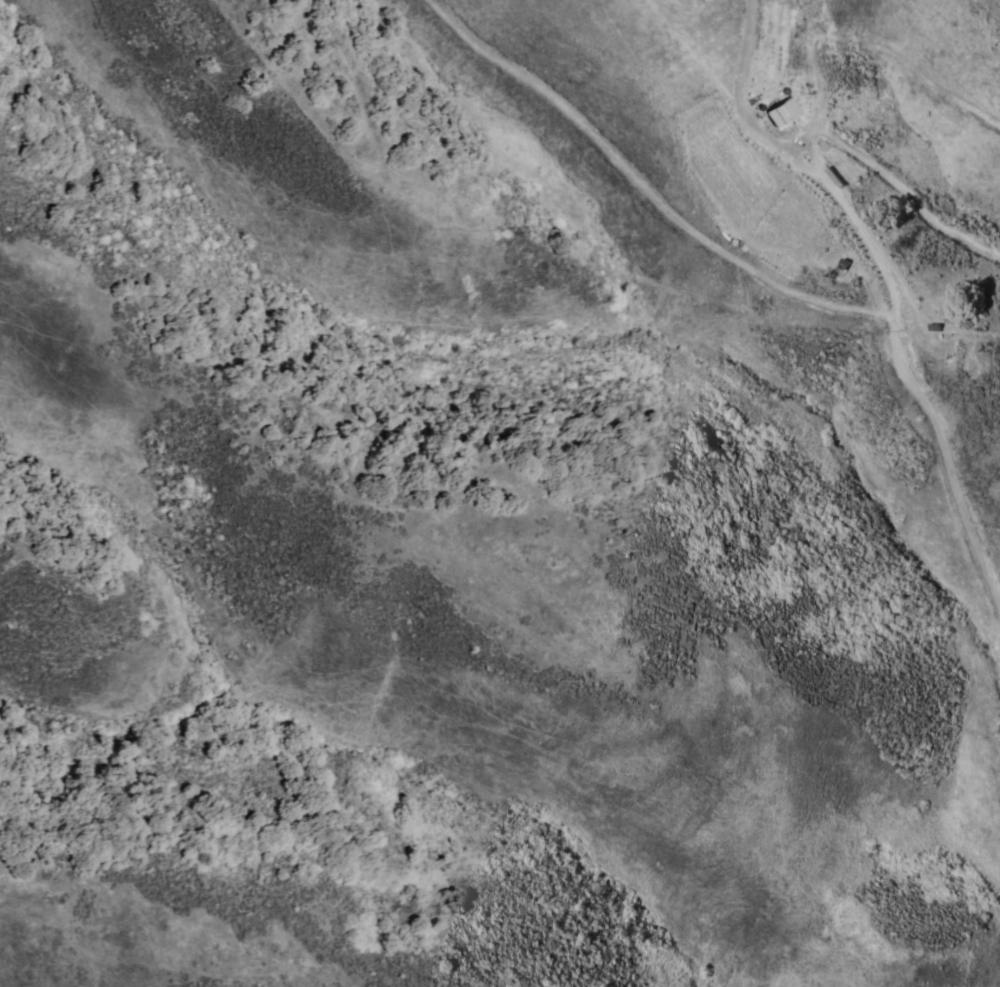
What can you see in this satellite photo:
building: (783, 112)
road: (887, 303)

